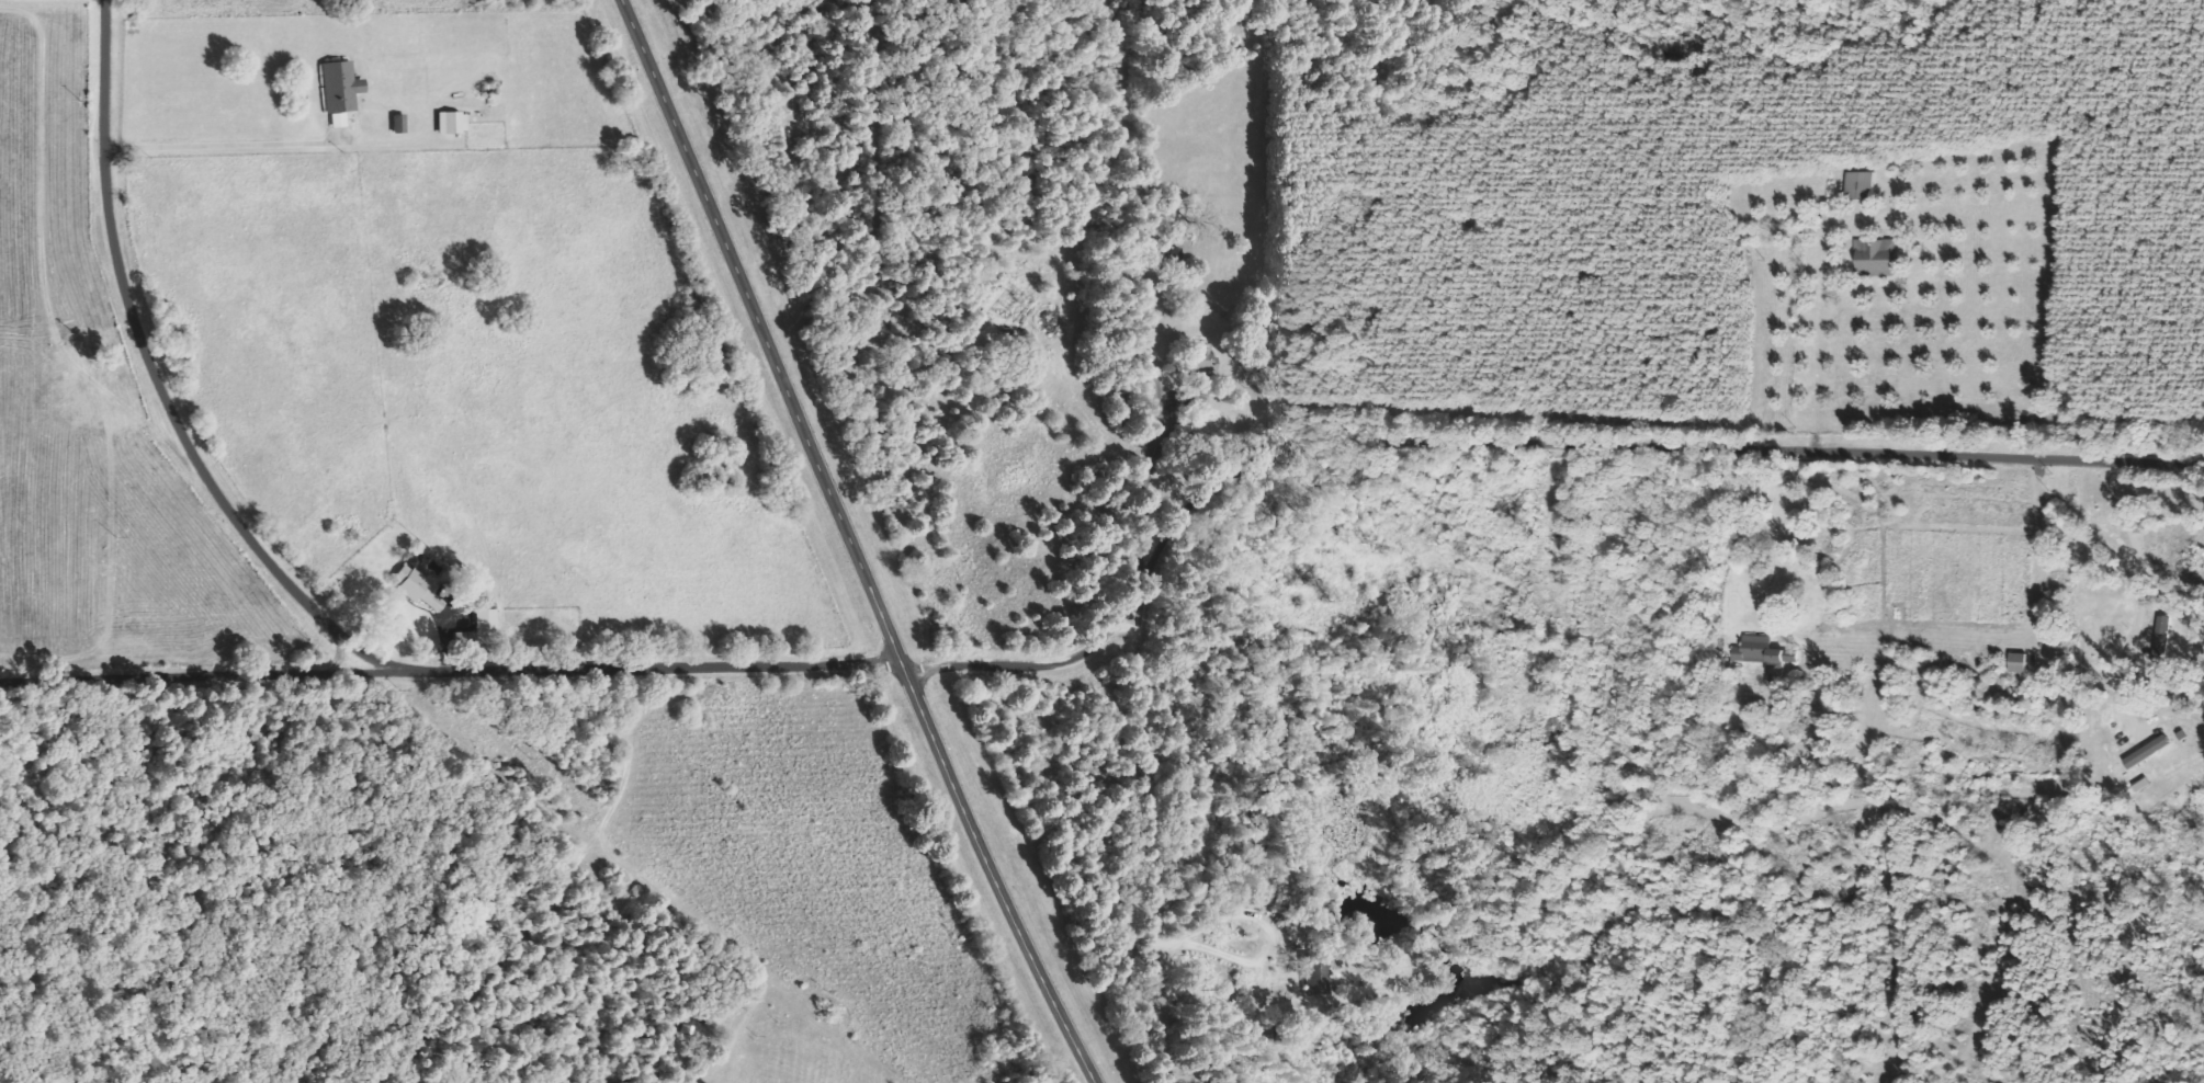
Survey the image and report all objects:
building: (341, 91)
building: (452, 123)
building: (399, 124)
building: (1858, 184)
building: (1877, 258)
road: (143, 352)
building: (1199, 357)
road: (1816, 423)
road: (1609, 448)
road: (851, 545)
building: (415, 584)
building: (489, 622)
building: (465, 640)
building: (1765, 651)
road: (344, 658)
building: (2020, 663)
road: (1005, 665)
road: (620, 668)
road: (201, 675)
building: (2149, 752)
road: (504, 761)
road: (518, 967)
building: (1318, 979)

